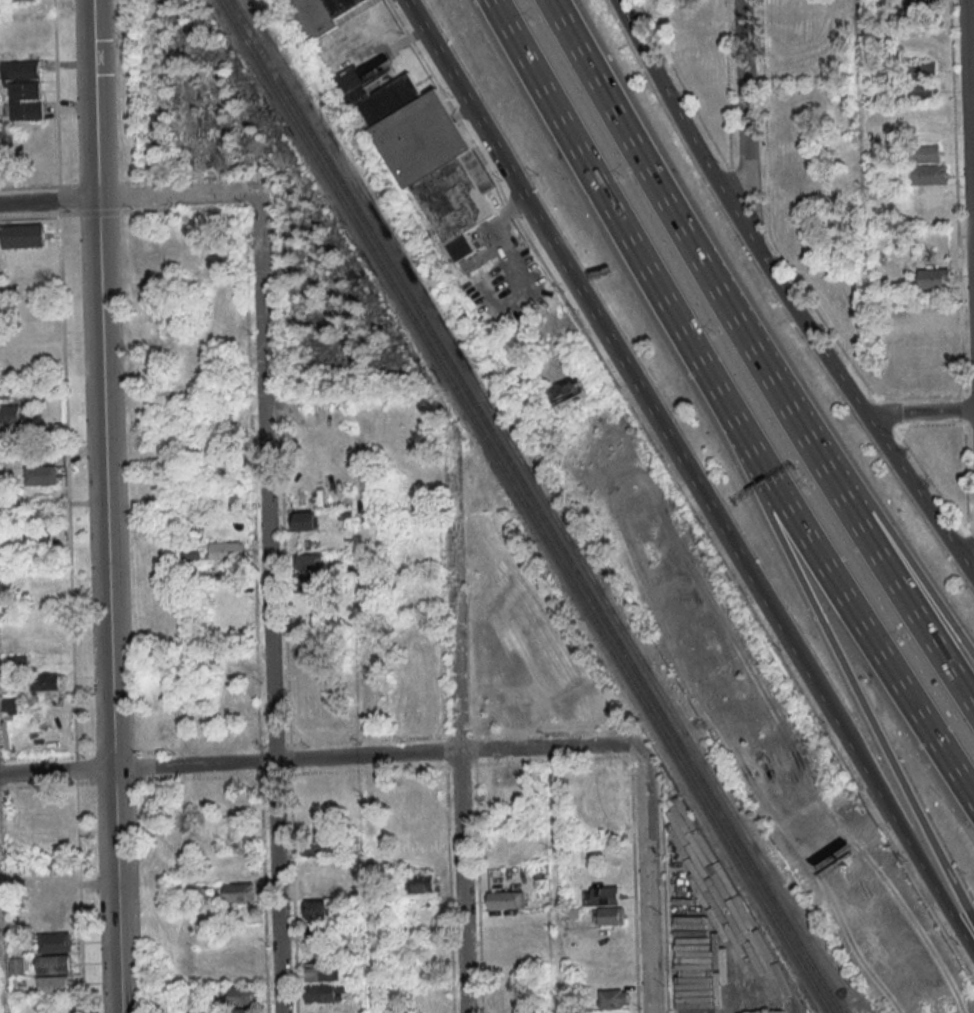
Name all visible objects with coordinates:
building: (917, 1)
building: (320, 14)
building: (703, 17)
building: (785, 34)
building: (787, 56)
building: (20, 69)
building: (920, 70)
building: (921, 91)
building: (25, 100)
road: (743, 116)
building: (787, 118)
road: (969, 145)
building: (924, 153)
building: (428, 160)
building: (926, 174)
road: (177, 197)
road: (48, 201)
road: (613, 221)
building: (21, 238)
road: (690, 262)
building: (933, 277)
road: (785, 295)
building: (933, 319)
road: (617, 357)
road: (918, 412)
building: (12, 413)
building: (226, 468)
building: (39, 476)
road: (104, 506)
railway: (525, 506)
railway: (537, 506)
building: (39, 518)
building: (301, 523)
building: (37, 539)
building: (191, 552)
building: (224, 552)
building: (307, 562)
building: (310, 584)
road: (914, 585)
road: (453, 597)
road: (268, 604)
road: (176, 605)
road: (913, 611)
road: (858, 621)
building: (18, 661)
building: (45, 681)
road: (851, 686)
road: (363, 703)
building: (10, 705)
road: (549, 747)
road: (283, 760)
road: (55, 771)
park: (592, 802)
road: (901, 834)
building: (352, 845)
building: (319, 848)
road: (551, 880)
road: (460, 882)
road: (643, 882)
building: (421, 883)
building: (316, 889)
building: (237, 894)
building: (605, 895)
building: (49, 899)
building: (505, 900)
building: (320, 908)
building: (607, 915)
building: (53, 941)
building: (53, 963)
road: (2, 965)
building: (322, 971)
building: (52, 985)
building: (242, 993)
building: (323, 993)
building: (521, 998)
building: (612, 998)
building: (242, 1011)

